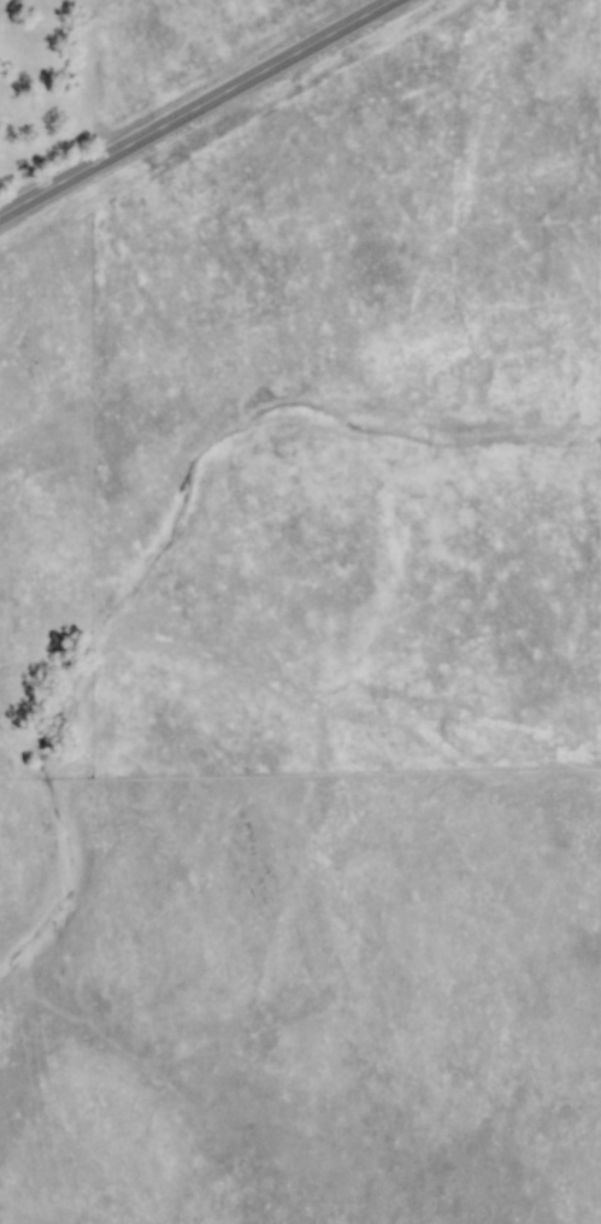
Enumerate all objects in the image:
road: (195, 106)
road: (34, 1042)

